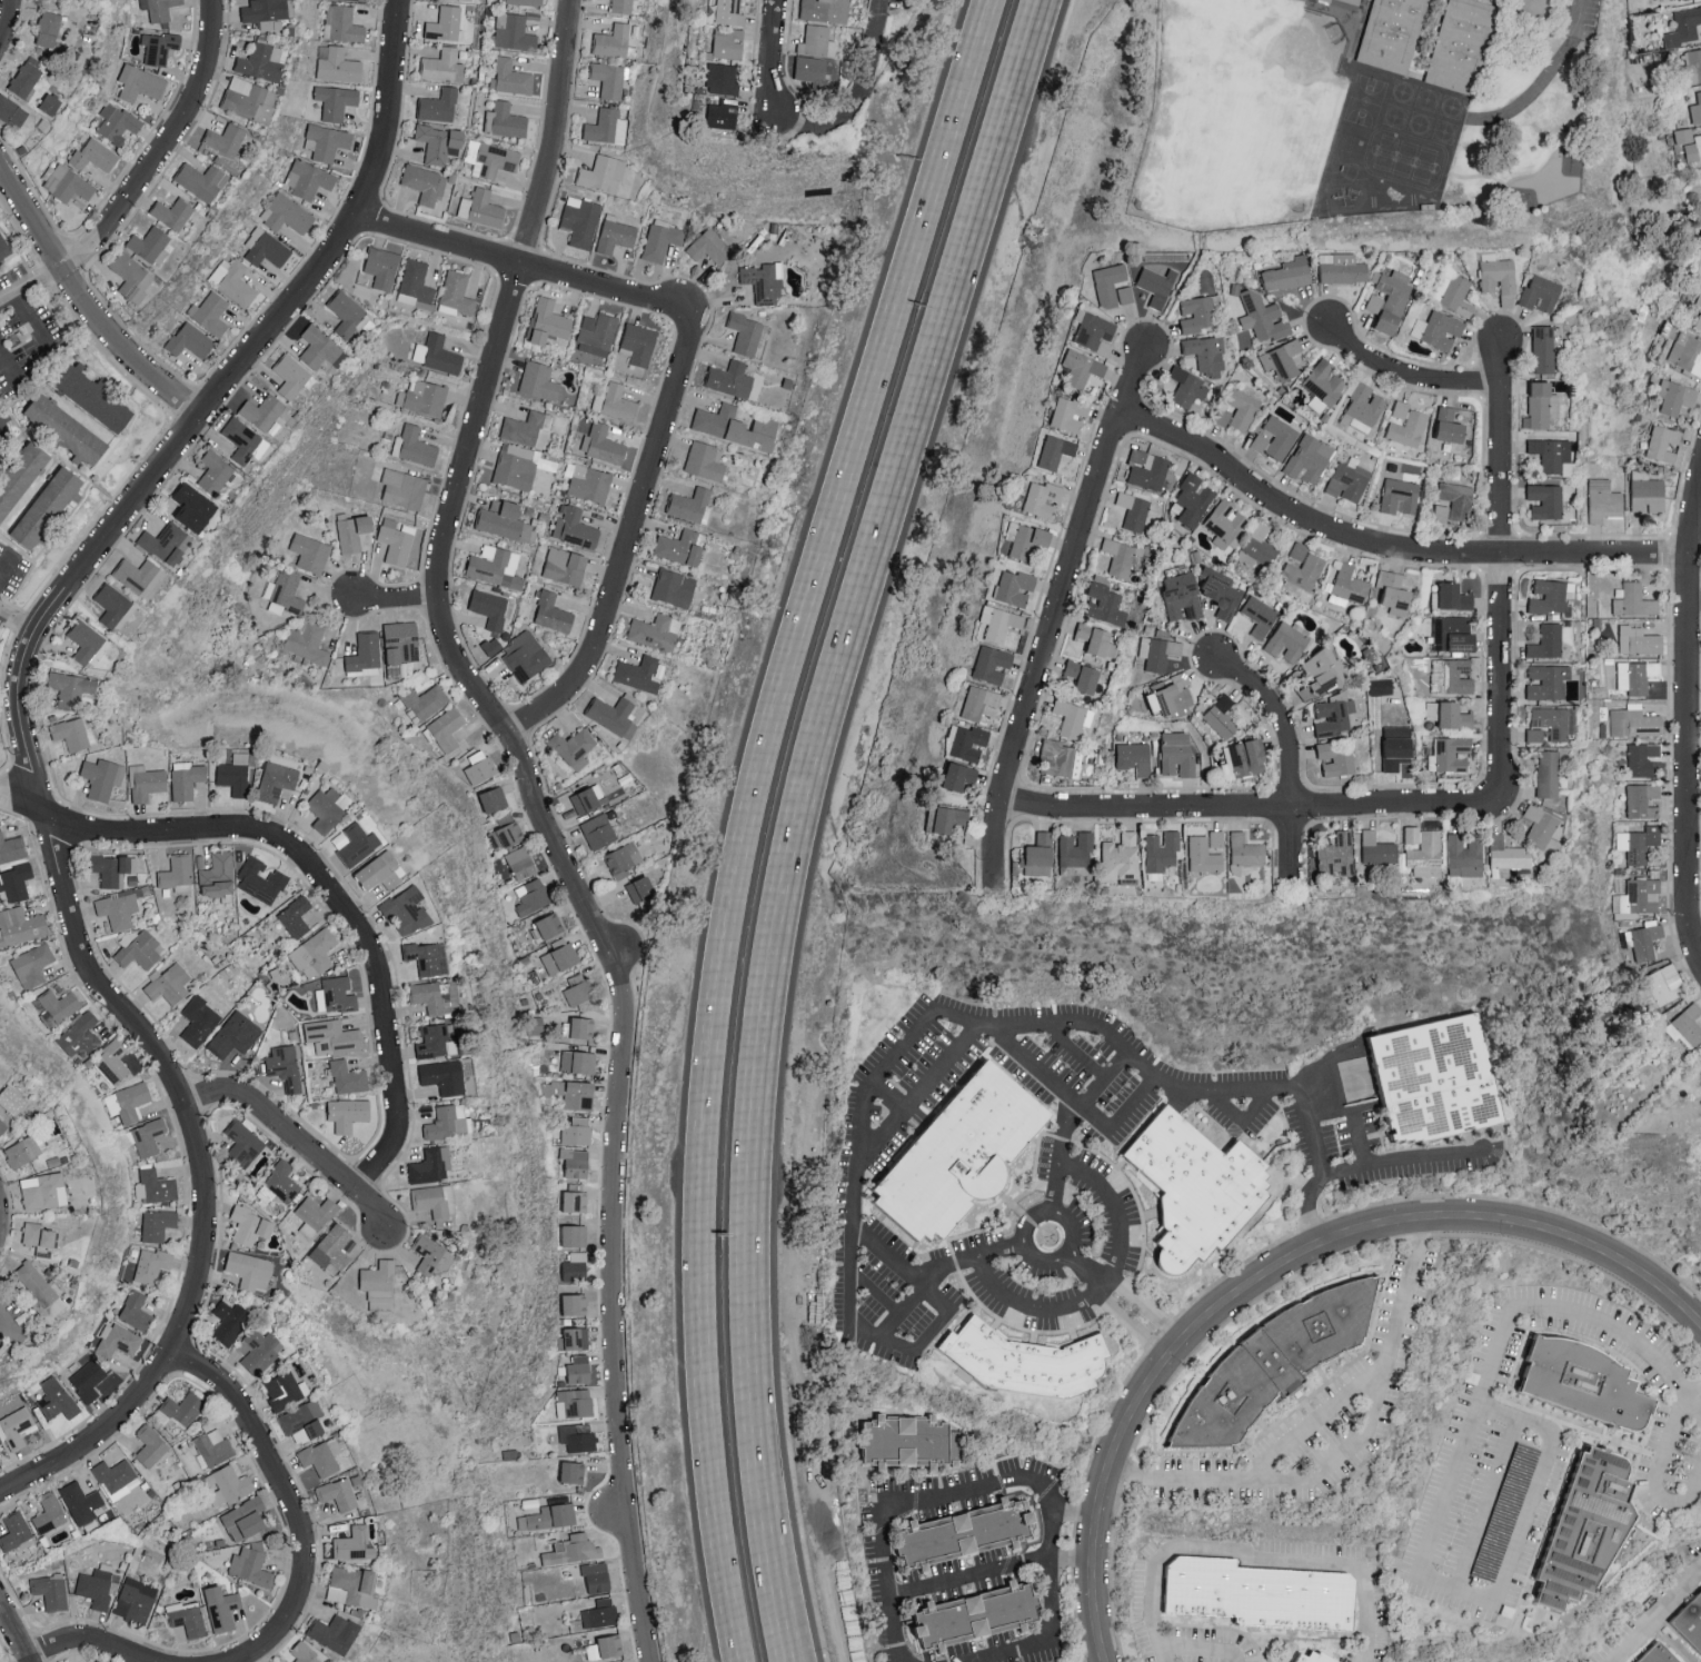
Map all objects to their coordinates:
building: (360, 0)
building: (526, 2)
building: (1345, 3)
building: (621, 6)
road: (59, 7)
building: (159, 8)
building: (824, 10)
building: (1534, 10)
building: (725, 11)
building: (266, 12)
road: (1578, 16)
building: (342, 22)
road: (6, 23)
building: (445, 23)
building: (1683, 27)
building: (48, 28)
building: (513, 31)
building: (815, 40)
building: (613, 41)
building: (725, 42)
building: (1434, 42)
building: (158, 46)
road: (774, 51)
building: (261, 61)
building: (444, 64)
building: (1693, 64)
building: (338, 66)
building: (807, 69)
building: (26, 77)
building: (511, 77)
building: (609, 78)
building: (718, 79)
building: (140, 82)
road: (848, 92)
building: (249, 99)
building: (336, 100)
park: (1364, 100)
building: (49, 102)
building: (439, 105)
building: (1697, 108)
building: (12, 111)
building: (718, 113)
park: (1239, 115)
building: (505, 119)
building: (117, 122)
building: (605, 126)
building: (226, 138)
building: (326, 141)
building: (439, 142)
building: (1685, 145)
road: (163, 146)
building: (94, 155)
building: (494, 159)
building: (603, 173)
building: (309, 179)
building: (201, 180)
building: (68, 182)
building: (425, 182)
building: (480, 207)
building: (173, 212)
building: (287, 213)
building: (580, 221)
building: (615, 233)
building: (661, 239)
building: (3, 247)
building: (266, 247)
building: (709, 247)
road: (520, 261)
building: (381, 267)
building: (1342, 268)
building: (1287, 273)
building: (131, 276)
building: (1499, 276)
building: (233, 280)
building: (765, 281)
building: (416, 285)
building: (1112, 285)
building: (1156, 285)
road: (32, 286)
building: (1453, 292)
building: (456, 293)
building: (1541, 293)
building: (1390, 299)
road: (1172, 300)
road: (84, 301)
building: (1697, 308)
building: (210, 312)
building: (1198, 312)
building: (350, 316)
building: (1263, 316)
building: (547, 320)
road: (31, 321)
building: (1438, 329)
building: (1094, 331)
building: (746, 332)
building: (597, 334)
building: (190, 339)
building: (638, 344)
building: (321, 348)
building: (1543, 348)
building: (437, 354)
building: (1205, 354)
building: (1687, 354)
building: (1283, 358)
building: (1080, 367)
road: (7, 370)
road: (475, 372)
building: (291, 375)
building: (730, 378)
road: (1406, 378)
building: (539, 380)
building: (1324, 381)
building: (1188, 387)
building: (91, 396)
building: (424, 397)
building: (1674, 397)
building: (615, 402)
building: (1540, 405)
building: (1363, 406)
building: (1242, 407)
building: (1401, 408)
building: (262, 410)
building: (1068, 412)
building: (1223, 416)
building: (1, 418)
building: (735, 426)
building: (67, 428)
building: (528, 428)
building: (1407, 428)
building: (1280, 436)
building: (241, 438)
building: (1259, 441)
building: (1662, 442)
building: (603, 444)
building: (414, 446)
building: (1054, 450)
building: (1553, 456)
building: (1307, 458)
building: (705, 460)
building: (215, 469)
building: (1147, 469)
building: (20, 477)
building: (1347, 480)
building: (590, 482)
building: (404, 488)
building: (1645, 491)
building: (1400, 496)
building: (1042, 498)
building: (1194, 498)
building: (1456, 499)
building: (1545, 500)
building: (1603, 500)
building: (689, 504)
building: (48, 506)
building: (192, 506)
building: (1134, 510)
building: (505, 520)
building: (1225, 523)
building: (575, 527)
building: (352, 530)
road: (627, 538)
building: (1025, 538)
building: (397, 540)
building: (166, 541)
building: (1261, 545)
road: (1386, 547)
building: (680, 548)
building: (310, 553)
building: (1123, 556)
road: (1500, 563)
building: (565, 565)
road: (6, 566)
building: (494, 567)
building: (1302, 569)
building: (140, 576)
building: (1347, 586)
building: (1015, 587)
building: (674, 588)
building: (1222, 591)
building: (285, 593)
building: (1394, 593)
building: (1550, 595)
road: (395, 596)
building: (1182, 596)
building: (1454, 596)
building: (1633, 601)
building: (1105, 604)
building: (115, 607)
building: (491, 608)
building: (553, 613)
road: (1056, 614)
building: (1260, 615)
road: (18, 616)
building: (998, 623)
building: (655, 631)
building: (1453, 634)
building: (1097, 639)
building: (86, 640)
building: (1639, 640)
building: (401, 641)
building: (1287, 641)
building: (1546, 641)
building: (308, 643)
building: (491, 645)
building: (1157, 651)
building: (365, 655)
building: (526, 656)
building: (991, 664)
road: (564, 668)
building: (1324, 670)
building: (638, 673)
building: (1083, 675)
building: (1452, 675)
building: (1637, 676)
building: (1546, 681)
building: (1381, 686)
building: (70, 687)
building: (1171, 695)
building: (425, 699)
building: (977, 701)
road: (1690, 706)
building: (613, 714)
building: (1449, 714)
building: (1334, 715)
building: (1073, 717)
building: (1221, 717)
building: (1551, 721)
building: (1634, 721)
building: (446, 728)
building: (1533, 735)
building: (968, 742)
building: (1396, 746)
building: (574, 747)
road: (29, 753)
building: (1176, 753)
building: (1451, 753)
building: (1061, 757)
building: (1135, 757)
building: (1336, 757)
building: (1244, 758)
road: (1290, 758)
building: (1642, 758)
building: (480, 766)
building: (1546, 773)
building: (233, 774)
building: (958, 776)
building: (101, 777)
building: (186, 778)
building: (276, 780)
building: (146, 782)
building: (494, 798)
building: (588, 798)
building: (1643, 799)
building: (328, 806)
road: (1255, 806)
road: (749, 816)
road: (800, 816)
building: (947, 818)
road: (539, 819)
building: (1540, 826)
building: (598, 830)
building: (506, 832)
building: (1411, 834)
building: (1216, 838)
building: (1638, 843)
building: (357, 844)
building: (12, 848)
building: (1377, 848)
building: (1074, 849)
building: (1161, 850)
building: (1245, 853)
building: (1426, 854)
building: (1037, 855)
building: (1203, 855)
building: (1336, 855)
building: (1464, 855)
building: (1121, 856)
building: (1506, 856)
building: (623, 859)
building: (521, 862)
building: (110, 869)
building: (380, 872)
building: (177, 874)
building: (218, 875)
road: (320, 878)
building: (260, 879)
building: (16, 882)
building: (640, 889)
building: (533, 895)
building: (1639, 896)
building: (118, 909)
building: (406, 910)
building: (296, 916)
building: (20, 925)
building: (549, 925)
building: (126, 938)
building: (1645, 941)
road: (1695, 945)
building: (141, 949)
building: (314, 953)
building: (427, 957)
building: (560, 958)
building: (32, 965)
building: (1664, 983)
building: (170, 984)
building: (578, 988)
building: (336, 994)
building: (428, 996)
building: (58, 1006)
building: (199, 1021)
building: (1685, 1026)
building: (581, 1027)
building: (80, 1035)
building: (235, 1035)
building: (332, 1036)
building: (434, 1041)
road: (1074, 1048)
building: (112, 1062)
building: (578, 1062)
building: (285, 1066)
road: (879, 1069)
building: (444, 1076)
building: (348, 1077)
road: (917, 1086)
building: (1440, 1088)
building: (573, 1093)
road: (884, 1095)
building: (128, 1102)
road: (1075, 1102)
road: (1329, 1111)
building: (348, 1113)
road: (1065, 1116)
road: (1244, 1117)
building: (3, 1122)
building: (448, 1122)
building: (577, 1131)
building: (148, 1136)
road: (296, 1141)
building: (243, 1143)
building: (22, 1151)
building: (956, 1158)
road: (1401, 1158)
building: (576, 1162)
building: (430, 1165)
building: (282, 1181)
building: (156, 1185)
building: (43, 1191)
building: (434, 1200)
building: (575, 1201)
building: (1202, 1202)
road: (1304, 1205)
road: (1042, 1207)
building: (315, 1215)
road: (4, 1218)
building: (158, 1224)
building: (249, 1225)
building: (38, 1235)
building: (575, 1235)
building: (332, 1247)
building: (431, 1254)
road: (1273, 1264)
building: (151, 1265)
building: (576, 1266)
road: (1086, 1268)
building: (250, 1270)
road: (937, 1270)
road: (1104, 1281)
building: (379, 1284)
building: (40, 1291)
road: (875, 1291)
building: (575, 1304)
road: (1144, 1306)
road: (1560, 1310)
building: (136, 1311)
building: (229, 1321)
road: (1131, 1323)
building: (576, 1337)
building: (117, 1341)
building: (258, 1350)
building: (579, 1369)
building: (1029, 1371)
building: (1276, 1373)
building: (88, 1380)
building: (1586, 1383)
building: (285, 1390)
road: (1692, 1390)
building: (57, 1399)
building: (575, 1402)
road: (1692, 1404)
building: (183, 1407)
road: (1316, 1414)
building: (302, 1421)
building: (16, 1426)
building: (578, 1436)
building: (909, 1441)
building: (150, 1444)
road: (1346, 1444)
building: (215, 1446)
building: (321, 1455)
building: (573, 1471)
road: (1653, 1472)
building: (115, 1474)
building: (229, 1484)
building: (338, 1492)
road: (288, 1499)
road: (1483, 1501)
building: (81, 1502)
road: (885, 1505)
road: (1078, 1507)
building: (49, 1512)
building: (549, 1515)
building: (245, 1517)
building: (1589, 1527)
building: (965, 1531)
building: (16, 1532)
building: (354, 1544)
building: (573, 1549)
road: (1254, 1555)
road: (1045, 1559)
building: (250, 1565)
road: (967, 1574)
building: (526, 1575)
building: (596, 1575)
building: (352, 1585)
building: (96, 1586)
building: (51, 1590)
road: (1493, 1595)
building: (136, 1600)
building: (1264, 1604)
building: (221, 1606)
building: (600, 1612)
building: (526, 1614)
building: (977, 1614)
building: (187, 1618)
road: (1654, 1621)
building: (1691, 1621)
road: (16, 1631)
building: (335, 1632)
road: (91, 1638)
road: (1203, 1642)
road: (997, 1649)
building: (305, 1652)
building: (1659, 1653)
building: (1315, 1656)

